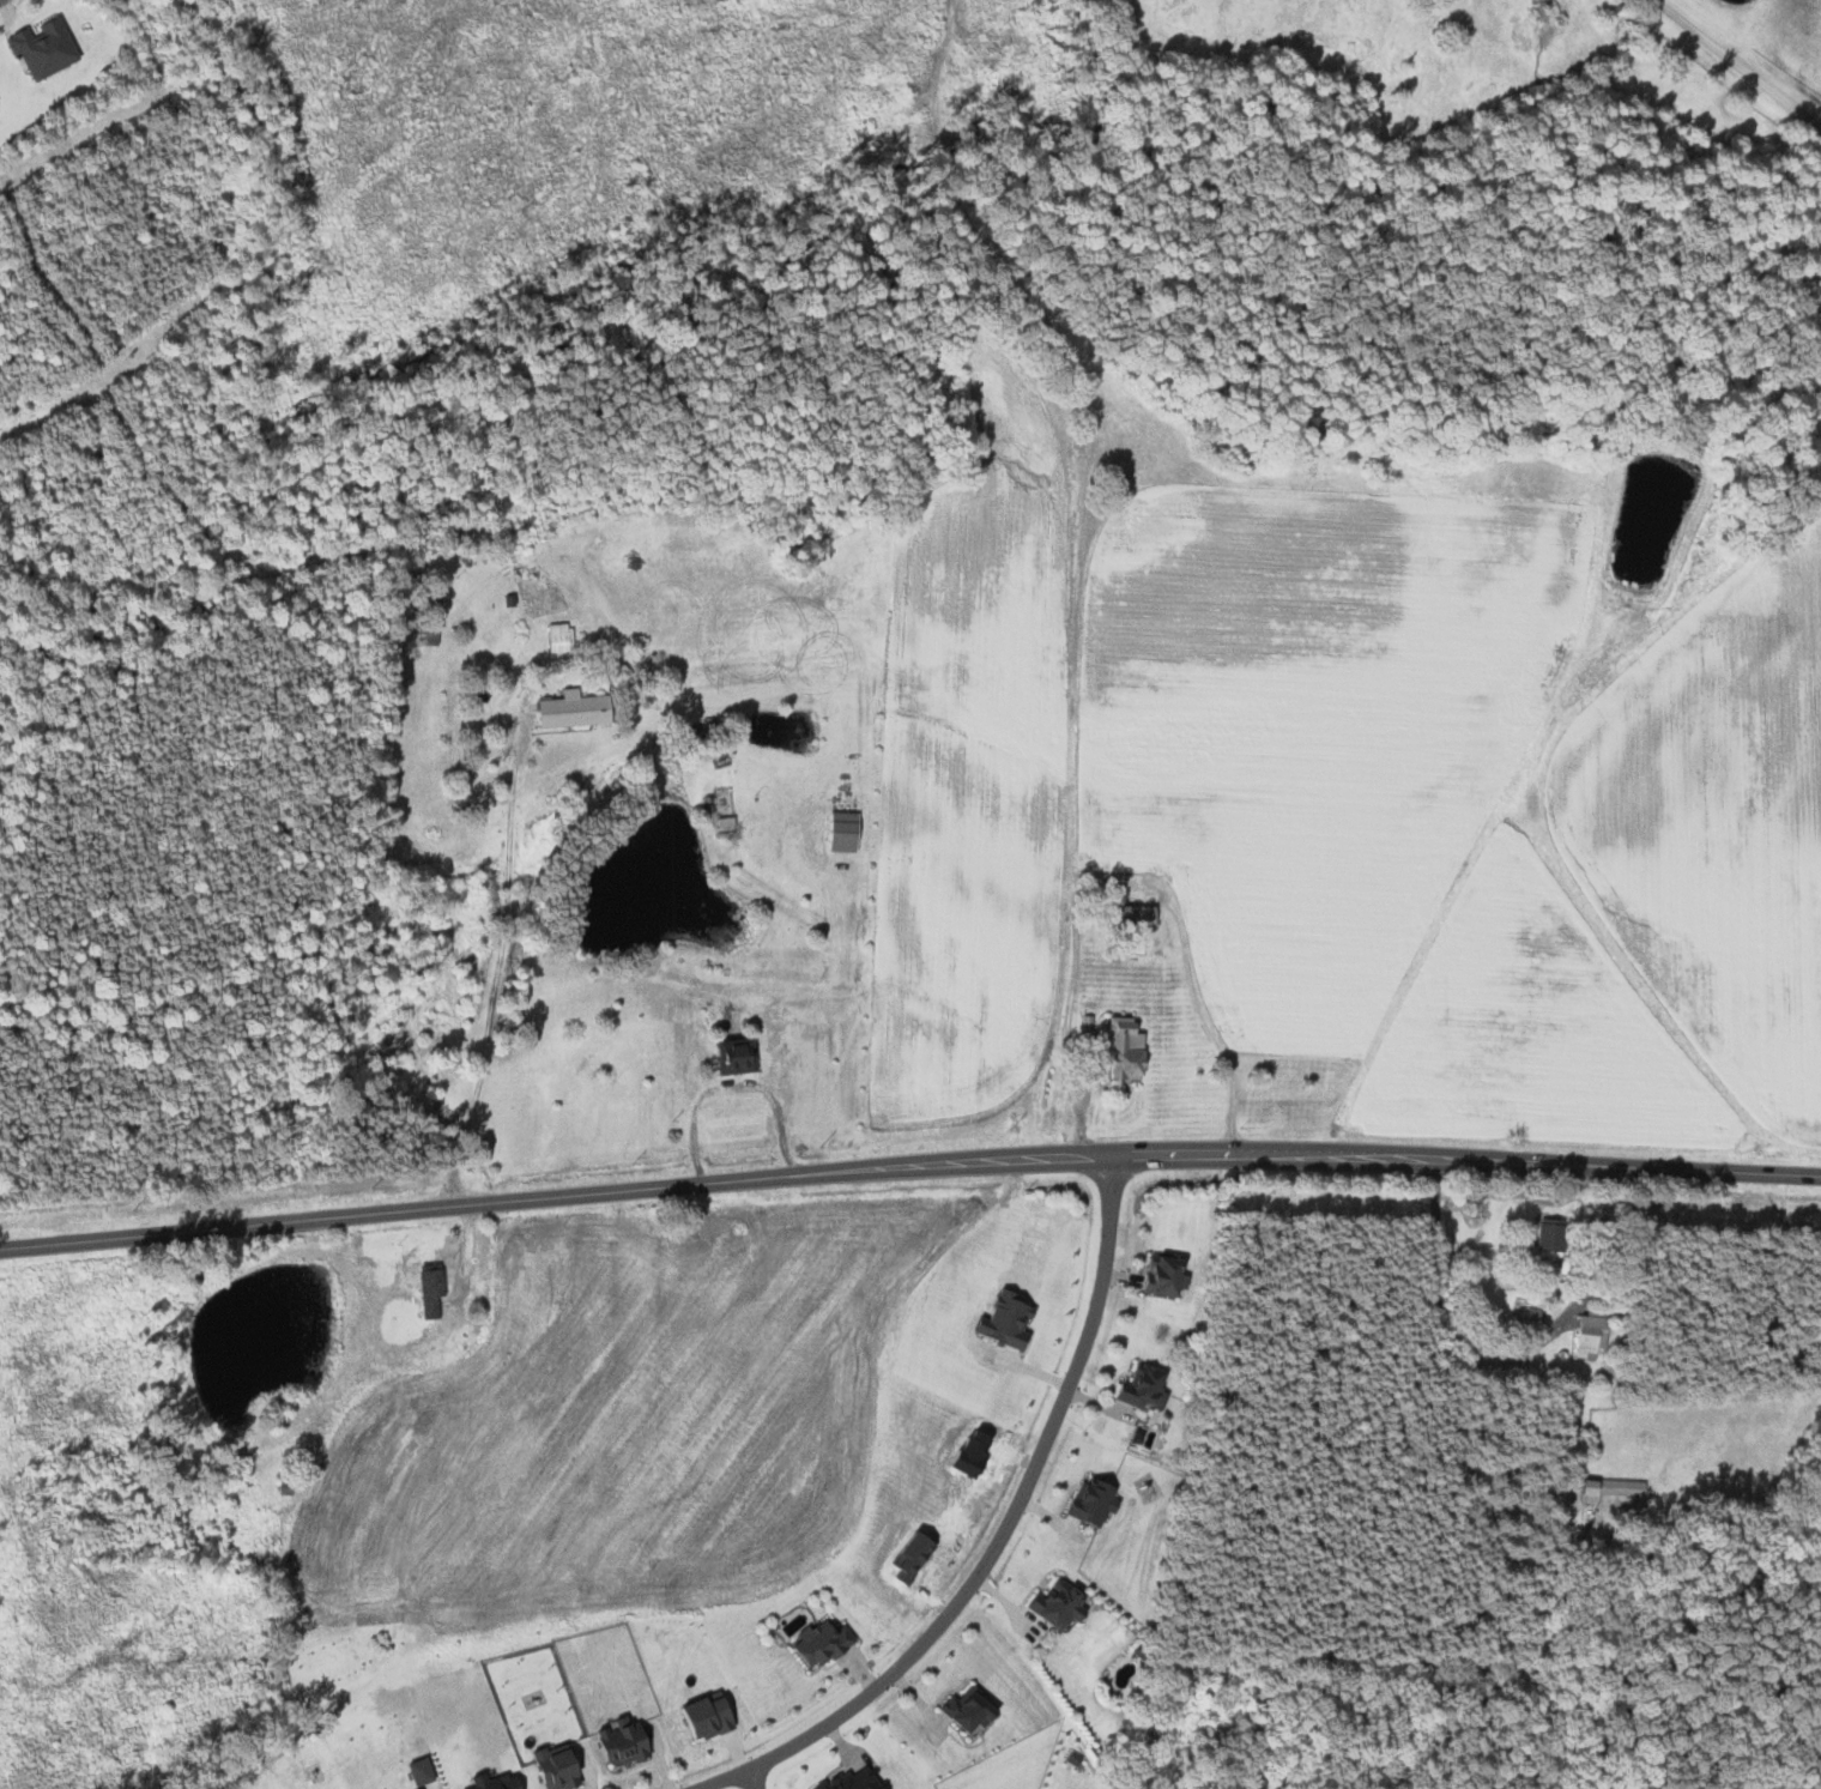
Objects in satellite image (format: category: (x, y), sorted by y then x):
building: (48, 49)
road: (1736, 66)
building: (561, 636)
building: (579, 708)
building: (849, 830)
road: (1123, 880)
building: (1147, 915)
road: (496, 956)
building: (1131, 1047)
building: (740, 1056)
road: (733, 1089)
road: (909, 1174)
building: (1554, 1237)
building: (1166, 1275)
building: (435, 1291)
building: (1011, 1318)
road: (1445, 1322)
building: (1585, 1334)
building: (1148, 1386)
building: (1610, 1488)
building: (1096, 1500)
road: (998, 1536)
building: (1064, 1604)
building: (827, 1643)
building: (975, 1710)
building: (629, 1745)
building: (565, 1767)
building: (425, 1771)
road: (751, 1779)
building: (485, 1781)
building: (857, 1781)

